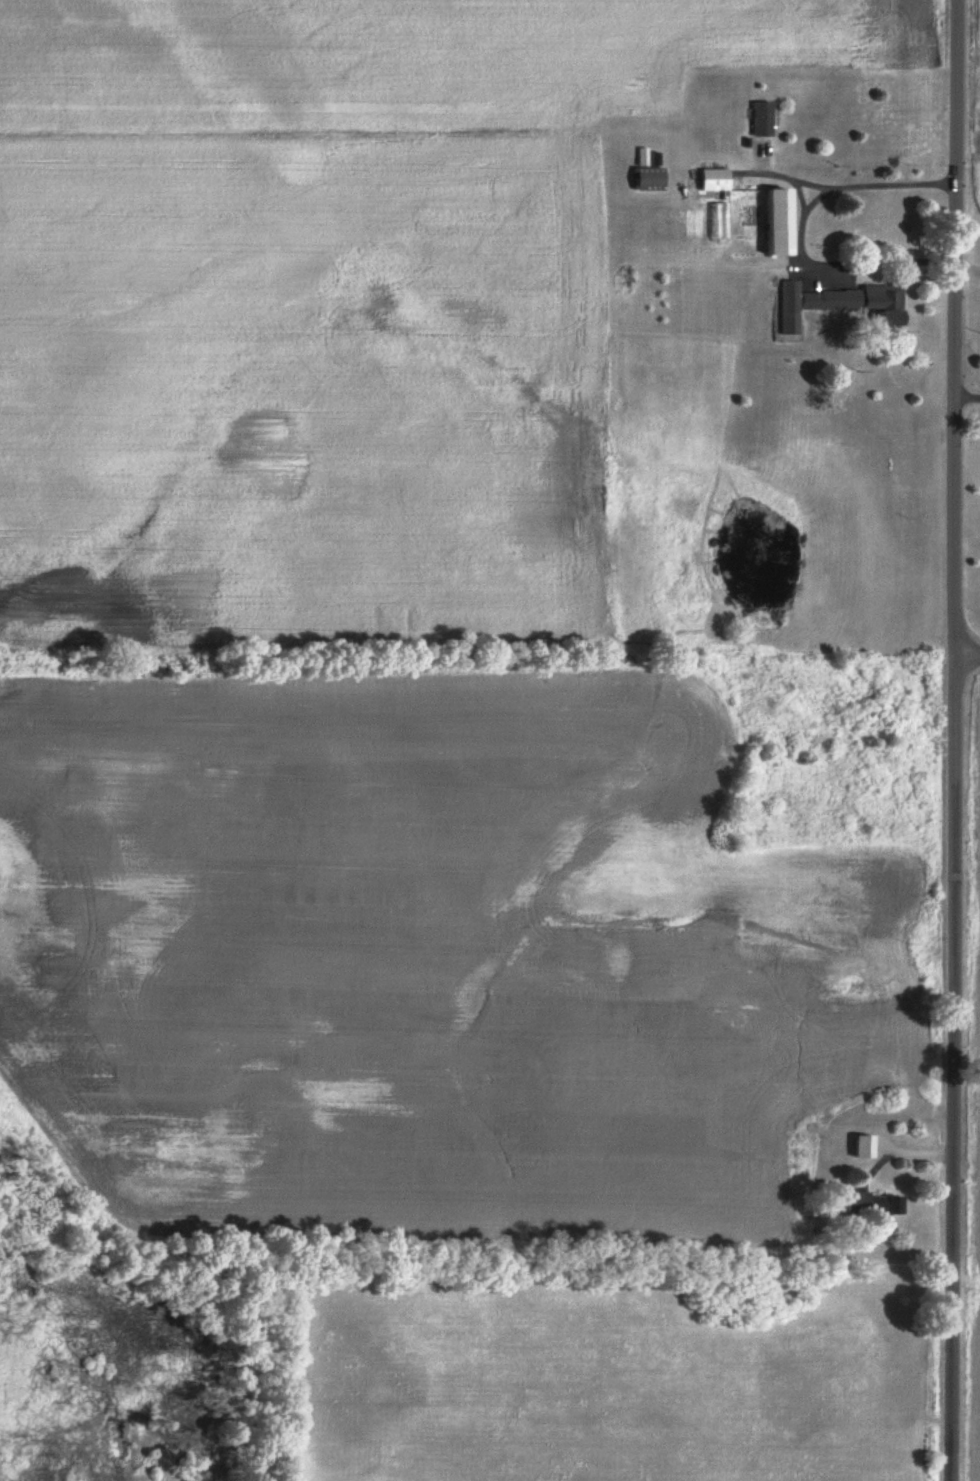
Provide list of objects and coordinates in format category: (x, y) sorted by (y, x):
building: (766, 118)
building: (651, 170)
building: (717, 178)
building: (781, 222)
building: (833, 302)
road: (966, 650)
road: (952, 740)
building: (857, 1145)
building: (874, 1202)

